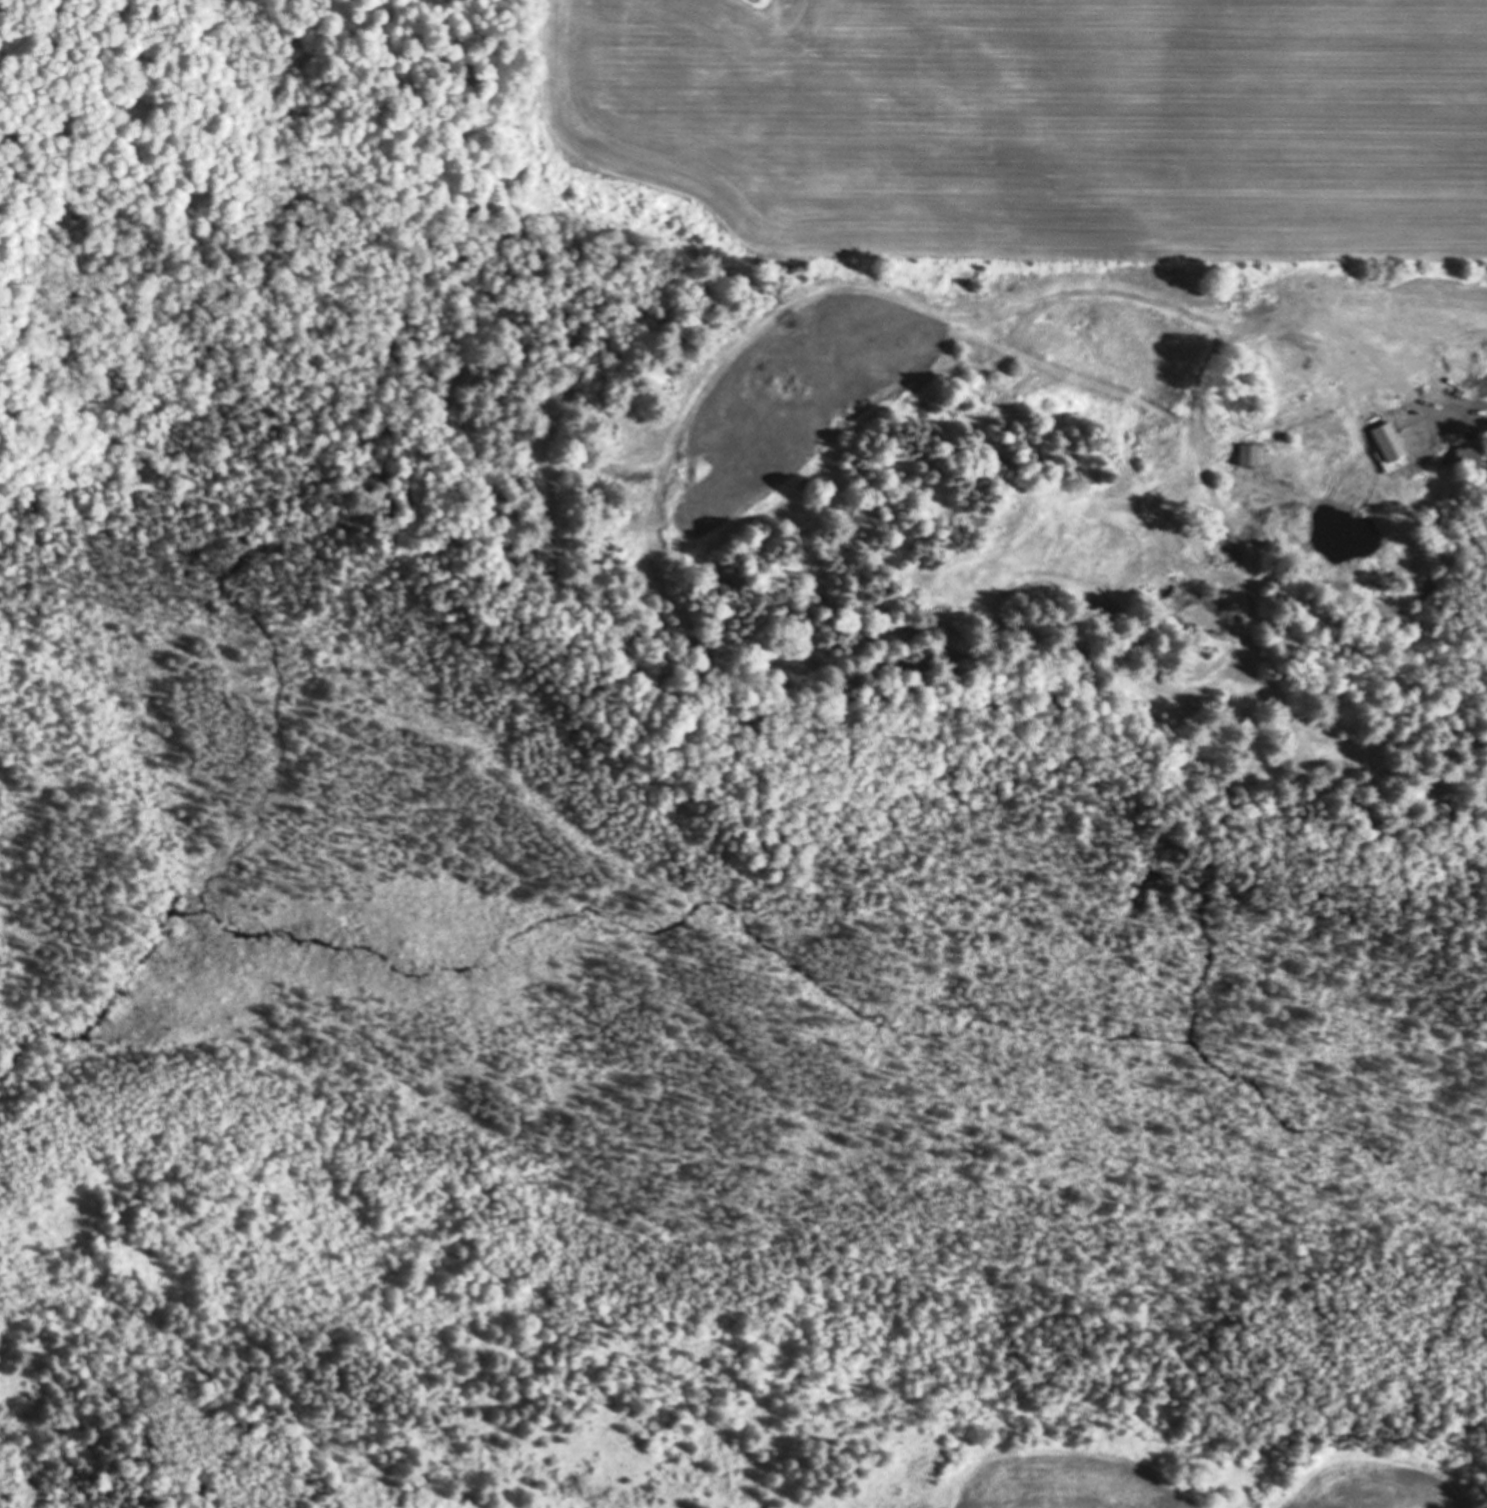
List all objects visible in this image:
building: (1238, 428)
building: (1393, 442)
building: (1251, 456)
building: (1468, 457)

